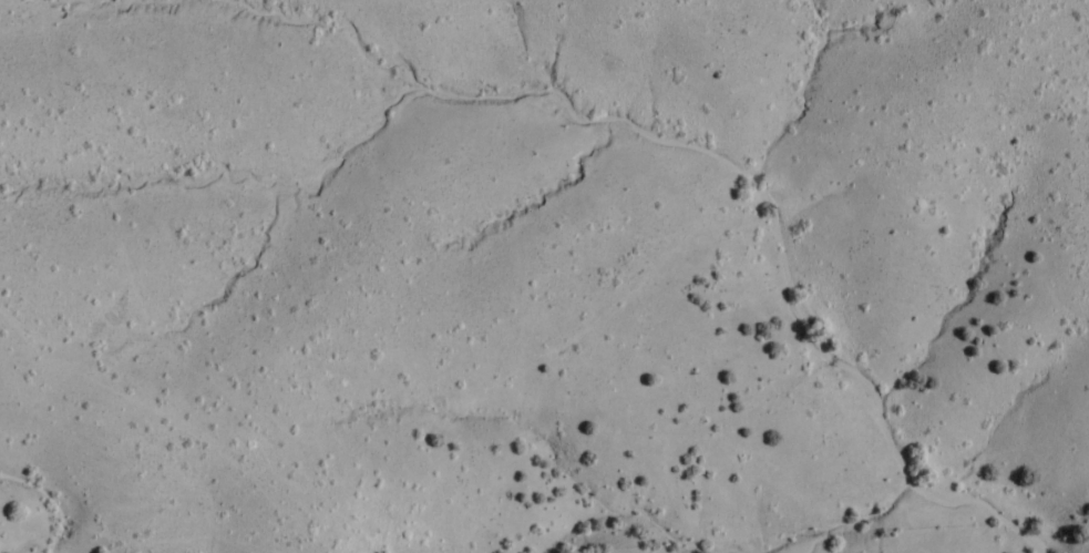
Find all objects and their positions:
road: (1085, 2)
road: (257, 504)

